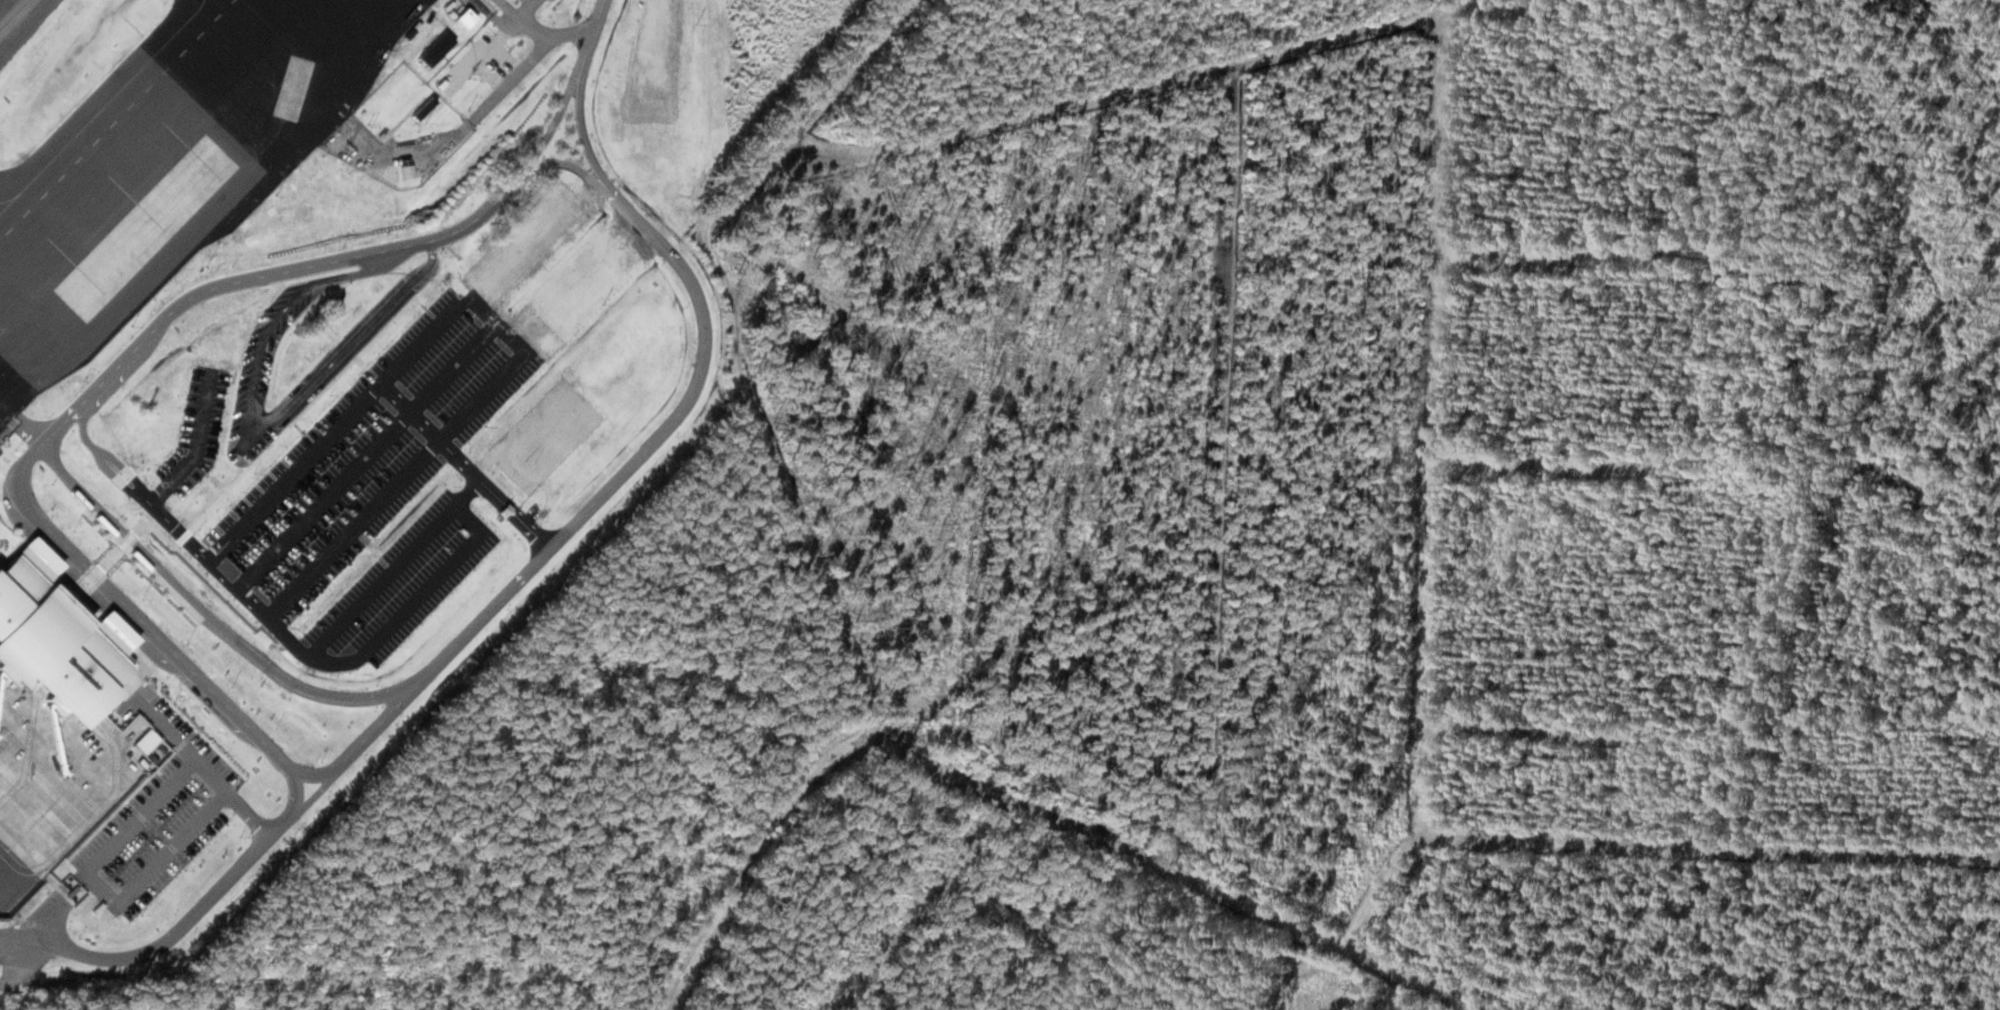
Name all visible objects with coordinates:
parking lot: (533, 3)
airport taxiway: (199, 7)
airport taxiway: (13, 14)
building: (464, 19)
road: (520, 24)
road: (591, 39)
building: (436, 48)
parking lot: (479, 61)
road: (524, 63)
building: (423, 108)
airport taxiway: (97, 113)
road: (581, 130)
road: (547, 137)
road: (551, 163)
airport apron: (170, 164)
building: (407, 171)
airport taxiway: (10, 197)
building: (371, 206)
road: (1518, 258)
building: (257, 268)
road: (1436, 286)
road: (391, 320)
building: (137, 352)
parking lot: (316, 379)
road: (330, 383)
road: (279, 396)
building: (85, 400)
airport: (304, 405)
road: (1220, 413)
road: (258, 424)
parking lot: (198, 429)
road: (97, 449)
road: (648, 449)
parking lot: (373, 450)
road: (261, 453)
road: (365, 455)
road: (5, 458)
road: (422, 458)
road: (466, 465)
road: (21, 466)
road: (1541, 468)
road: (212, 485)
road: (159, 493)
road: (225, 504)
road: (205, 514)
road: (156, 530)
road: (184, 535)
road: (10, 536)
road: (127, 539)
road: (8, 549)
road: (111, 556)
road: (205, 566)
road: (215, 566)
road: (88, 580)
parking lot: (400, 588)
road: (220, 590)
road: (75, 593)
road: (234, 593)
road: (414, 599)
road: (209, 615)
airport terminal: (55, 637)
building: (55, 637)
road: (198, 700)
road: (181, 714)
road: (1529, 735)
road: (184, 739)
building: (817, 741)
road: (880, 744)
building: (101, 757)
airport apron: (51, 785)
road: (298, 785)
road: (321, 788)
road: (120, 804)
parking lot: (158, 813)
road: (252, 814)
building: (46, 853)
road: (755, 856)
building: (191, 869)
road: (52, 880)
road: (81, 905)
road: (171, 937)
road: (18, 966)

